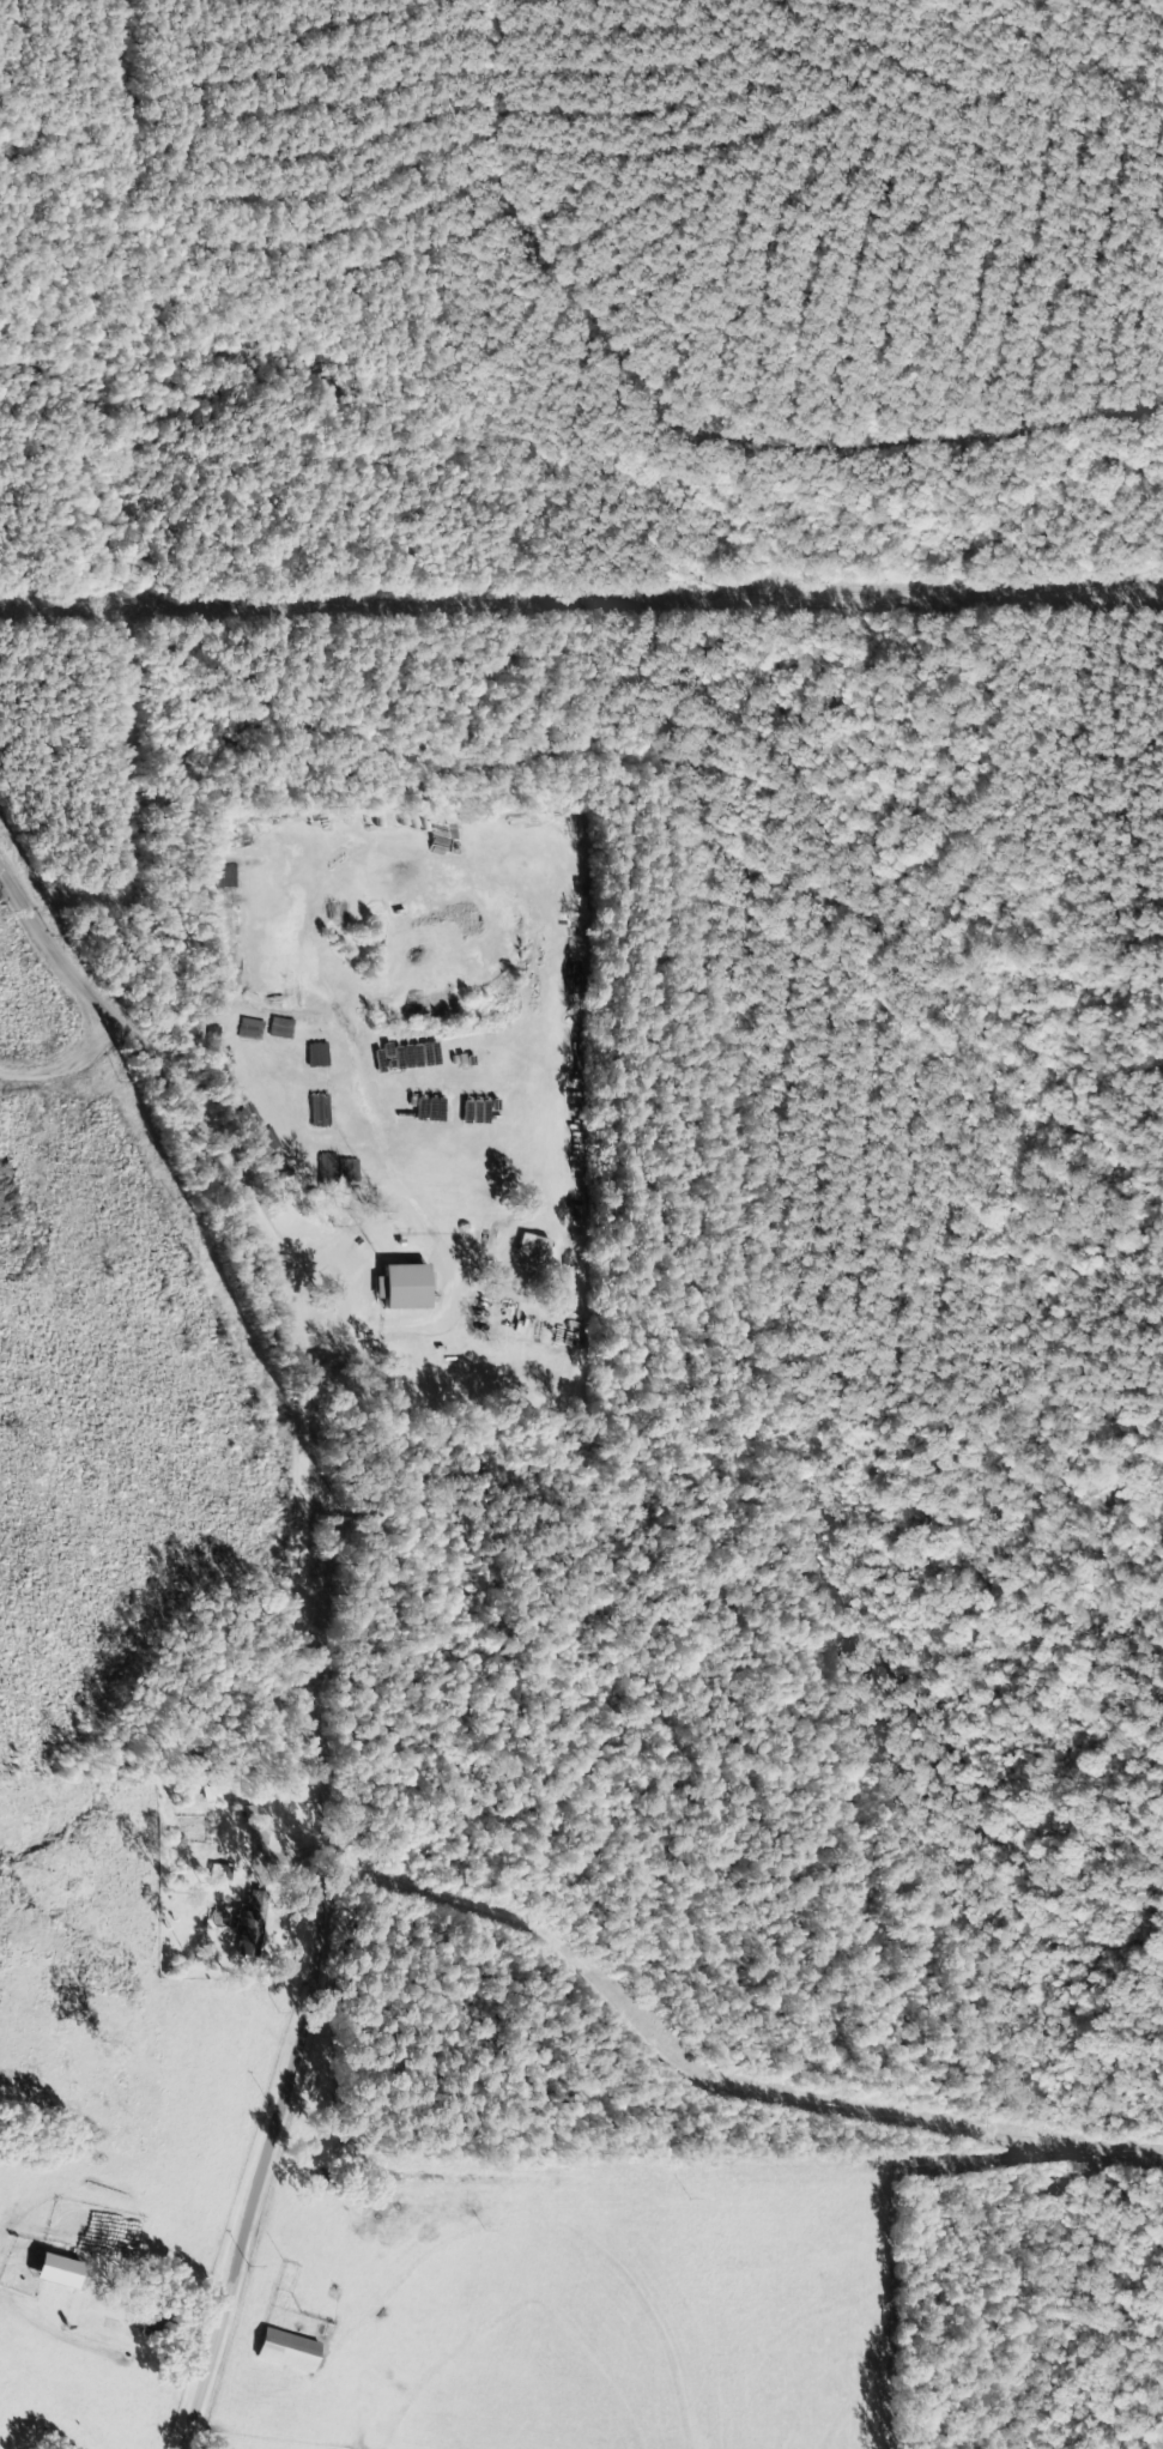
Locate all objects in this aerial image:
building: (279, 860)
road: (46, 986)
road: (40, 1066)
building: (230, 1105)
building: (534, 1250)
building: (400, 1288)
road: (297, 1716)
building: (244, 1933)
building: (48, 2269)
building: (284, 2350)

